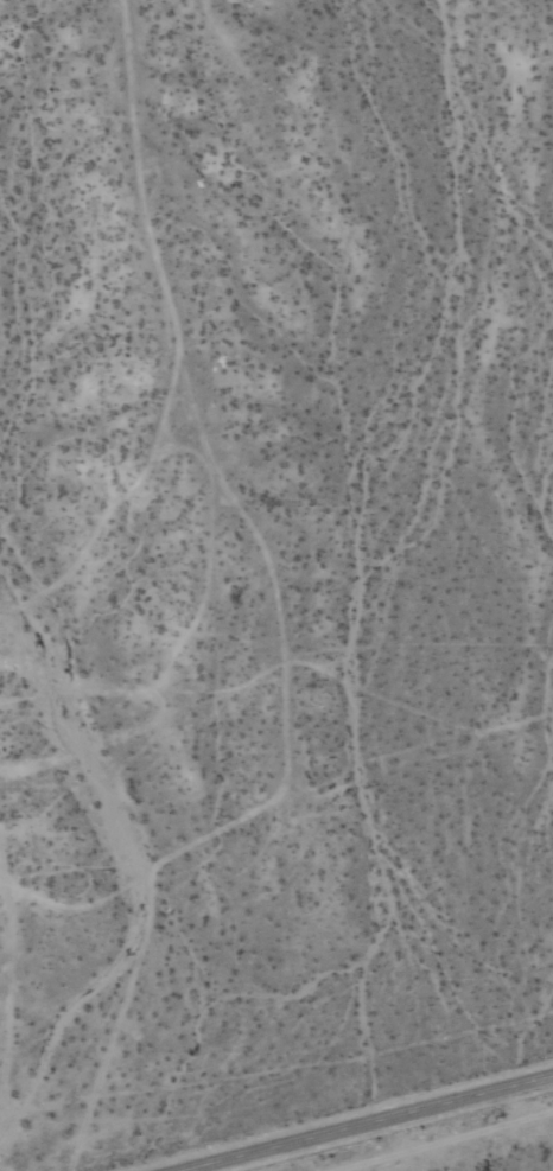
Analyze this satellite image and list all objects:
road: (370, 1124)

